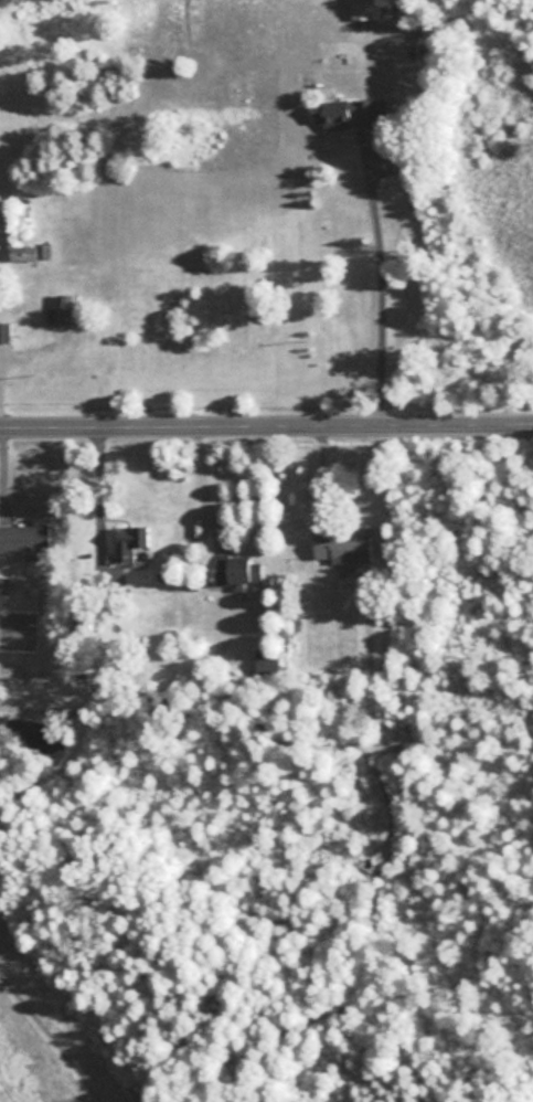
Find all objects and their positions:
building: (369, 11)
building: (349, 115)
building: (25, 255)
road: (375, 289)
building: (71, 310)
building: (7, 335)
road: (266, 420)
road: (324, 477)
road: (200, 483)
road: (94, 484)
building: (28, 541)
building: (135, 542)
building: (347, 549)
building: (239, 572)
building: (270, 664)

